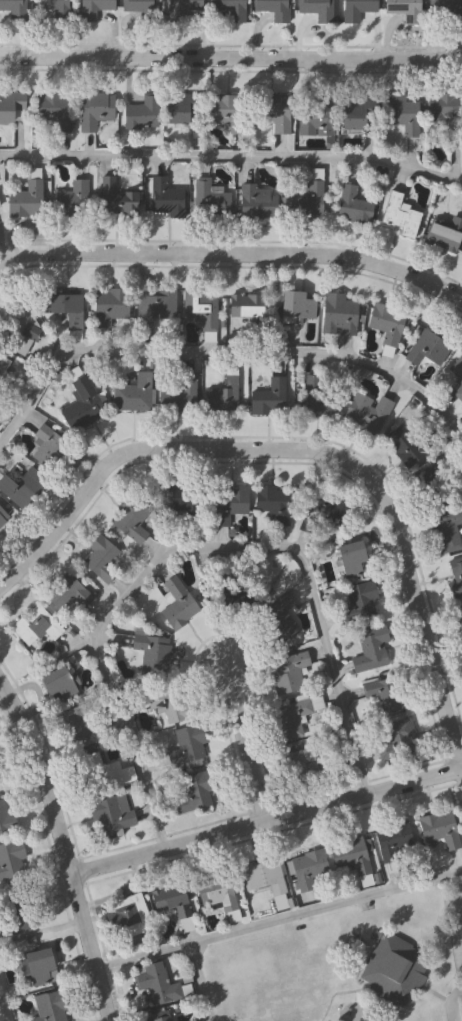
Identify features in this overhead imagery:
building: (139, 6)
building: (183, 7)
building: (52, 8)
building: (14, 9)
building: (94, 9)
building: (230, 9)
building: (273, 9)
building: (316, 9)
building: (355, 9)
building: (404, 10)
building: (445, 12)
road: (231, 58)
building: (180, 106)
building: (12, 108)
building: (54, 109)
building: (94, 110)
building: (445, 110)
building: (229, 112)
building: (272, 112)
building: (356, 114)
building: (400, 114)
building: (141, 115)
building: (317, 118)
road: (232, 155)
building: (209, 197)
building: (115, 199)
building: (166, 199)
building: (305, 200)
building: (26, 201)
building: (72, 201)
building: (253, 201)
building: (353, 207)
building: (396, 212)
building: (443, 235)
road: (232, 252)
road: (457, 302)
building: (296, 306)
building: (110, 307)
building: (66, 309)
building: (200, 309)
building: (248, 309)
building: (155, 310)
building: (338, 315)
building: (384, 325)
building: (24, 339)
building: (426, 349)
road: (219, 350)
building: (3, 374)
building: (457, 377)
building: (133, 394)
building: (182, 395)
building: (222, 397)
building: (317, 397)
building: (261, 403)
building: (81, 405)
building: (366, 412)
building: (404, 445)
road: (299, 447)
building: (51, 452)
building: (437, 484)
building: (20, 487)
building: (179, 503)
building: (227, 504)
building: (272, 504)
building: (320, 514)
building: (3, 518)
building: (131, 521)
building: (446, 530)
road: (182, 544)
building: (103, 559)
building: (350, 559)
building: (455, 576)
building: (67, 596)
building: (360, 598)
road: (20, 603)
building: (177, 605)
building: (280, 616)
building: (459, 616)
building: (31, 627)
building: (370, 650)
building: (151, 654)
building: (288, 672)
building: (57, 684)
building: (383, 694)
building: (168, 706)
building: (293, 717)
building: (77, 728)
building: (397, 741)
road: (248, 742)
building: (186, 745)
building: (306, 767)
building: (100, 773)
building: (1, 777)
building: (192, 794)
building: (110, 813)
building: (6, 818)
road: (267, 820)
building: (439, 830)
building: (393, 842)
road: (65, 847)
building: (349, 855)
building: (10, 858)
building: (307, 869)
building: (262, 878)
building: (215, 893)
building: (175, 905)
building: (128, 914)
road: (280, 916)
building: (38, 966)
building: (393, 966)
road: (196, 981)
building: (155, 983)
road: (451, 1003)
building: (49, 1006)
park: (3, 1012)
building: (157, 1016)

